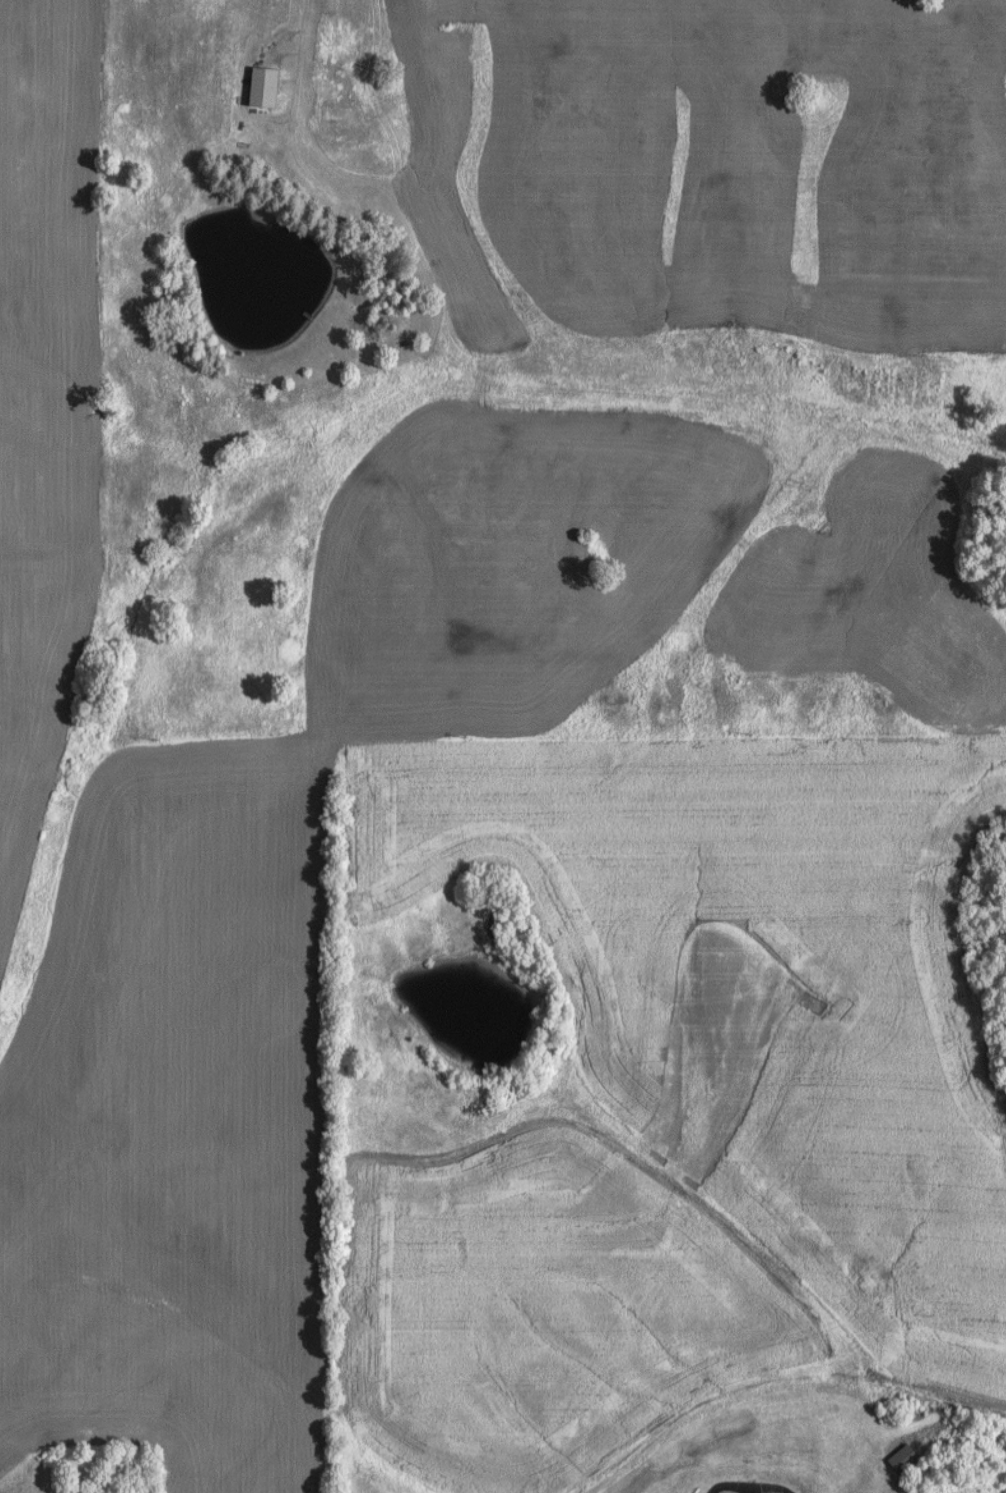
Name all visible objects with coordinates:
road: (301, 59)
building: (251, 89)
building: (894, 1459)
building: (10, 1479)

